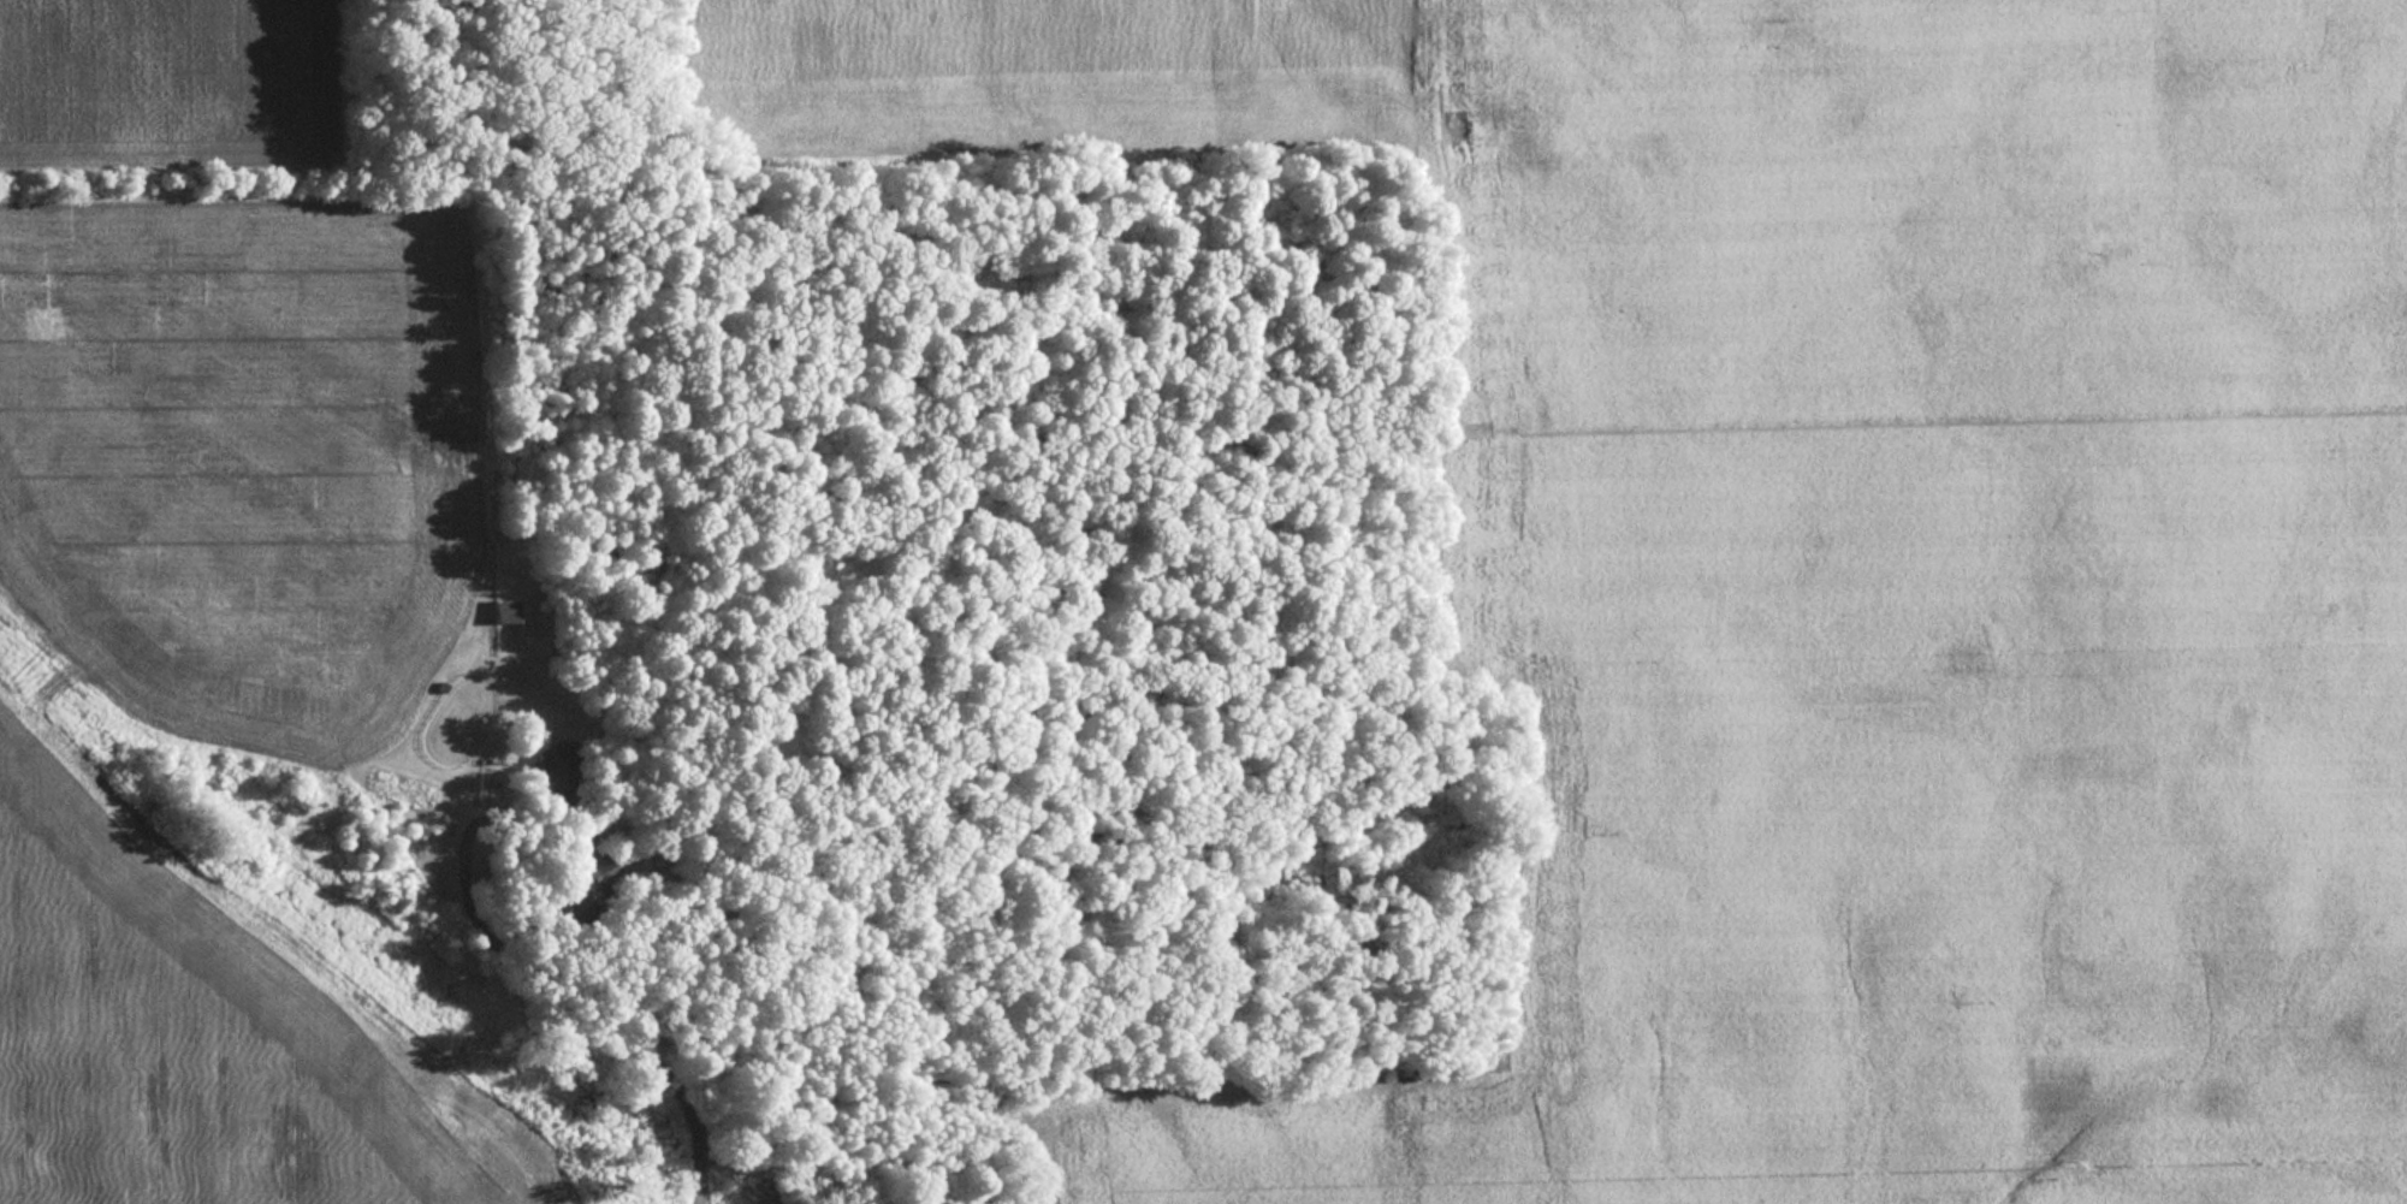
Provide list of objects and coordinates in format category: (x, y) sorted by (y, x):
building: (497, 612)
building: (553, 766)
building: (585, 891)
road: (695, 1135)

